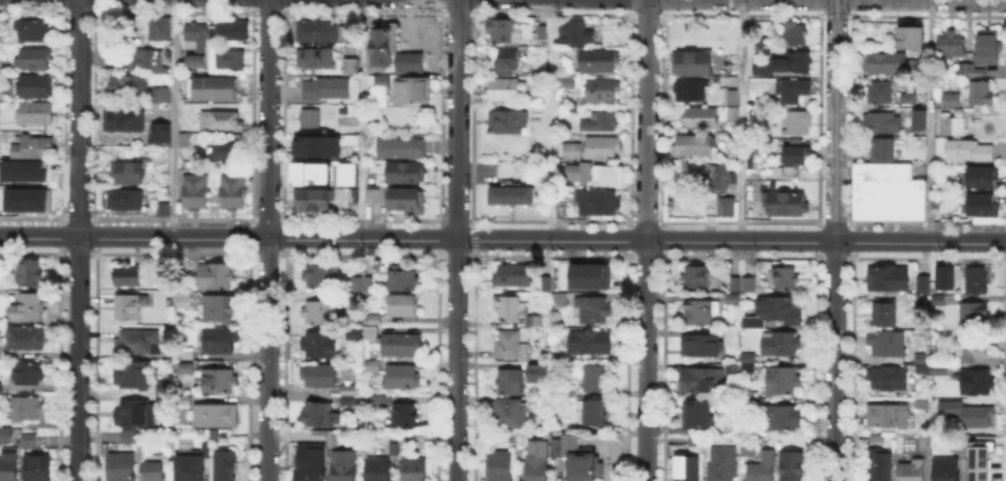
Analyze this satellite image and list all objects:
building: (541, 30)
building: (32, 31)
building: (233, 31)
building: (318, 31)
building: (501, 32)
building: (912, 35)
building: (797, 36)
building: (161, 37)
building: (576, 37)
building: (765, 43)
building: (196, 45)
building: (408, 46)
building: (953, 46)
building: (987, 46)
building: (383, 47)
building: (35, 59)
building: (125, 59)
building: (149, 59)
building: (506, 59)
building: (316, 60)
building: (410, 62)
building: (600, 62)
building: (231, 63)
building: (783, 63)
building: (880, 64)
building: (914, 64)
building: (693, 65)
building: (352, 68)
building: (966, 69)
building: (979, 74)
building: (382, 81)
building: (568, 84)
building: (37, 85)
building: (127, 88)
building: (601, 89)
building: (212, 90)
building: (327, 90)
building: (503, 90)
building: (692, 91)
building: (414, 92)
building: (793, 92)
building: (880, 94)
building: (983, 94)
building: (908, 98)
building: (953, 99)
building: (164, 101)
building: (734, 107)
building: (922, 112)
building: (35, 114)
building: (701, 118)
building: (121, 119)
road: (173, 119)
building: (311, 119)
road: (361, 120)
road: (550, 120)
building: (597, 121)
road: (741, 121)
road: (929, 121)
building: (221, 122)
building: (509, 122)
building: (798, 123)
building: (883, 124)
building: (952, 125)
building: (185, 141)
building: (318, 145)
building: (695, 146)
building: (34, 147)
building: (403, 147)
building: (601, 149)
building: (884, 150)
building: (224, 152)
building: (573, 152)
building: (972, 152)
building: (735, 156)
building: (797, 156)
building: (754, 163)
building: (22, 170)
building: (578, 171)
building: (131, 172)
building: (309, 172)
building: (345, 172)
building: (608, 172)
building: (407, 173)
building: (716, 177)
building: (983, 179)
building: (195, 193)
building: (234, 194)
building: (889, 195)
building: (376, 196)
building: (513, 196)
building: (23, 198)
building: (355, 198)
building: (128, 201)
building: (312, 201)
building: (406, 201)
building: (599, 204)
building: (785, 205)
building: (983, 206)
building: (164, 210)
building: (726, 210)
road: (77, 240)
road: (266, 240)
road: (456, 240)
road: (646, 240)
road: (835, 240)
road: (502, 241)
building: (31, 271)
building: (585, 274)
building: (514, 275)
building: (128, 276)
building: (217, 276)
building: (323, 276)
building: (694, 277)
building: (787, 279)
building: (889, 279)
building: (401, 280)
building: (978, 281)
building: (369, 283)
building: (735, 283)
building: (356, 284)
building: (748, 284)
building: (924, 284)
building: (937, 284)
building: (548, 286)
building: (559, 298)
building: (354, 299)
building: (941, 300)
building: (183, 301)
building: (922, 302)
building: (402, 307)
building: (28, 308)
building: (127, 308)
building: (220, 309)
building: (515, 310)
building: (594, 311)
building: (701, 313)
building: (774, 313)
building: (322, 314)
building: (885, 315)
building: (974, 315)
building: (375, 318)
building: (353, 329)
building: (371, 334)
building: (27, 338)
building: (732, 338)
building: (138, 341)
building: (221, 342)
building: (590, 343)
building: (781, 345)
building: (320, 346)
building: (401, 346)
building: (511, 347)
building: (700, 347)
building: (892, 347)
building: (970, 348)
building: (923, 358)
building: (747, 362)
building: (373, 366)
building: (187, 369)
building: (733, 369)
building: (923, 369)
building: (940, 370)
building: (543, 373)
building: (29, 375)
building: (133, 376)
building: (324, 376)
building: (402, 377)
building: (595, 378)
building: (219, 380)
building: (888, 380)
building: (977, 381)
building: (511, 382)
building: (703, 382)
building: (784, 383)
building: (1, 387)
building: (351, 390)
building: (923, 401)
building: (350, 402)
building: (377, 402)
building: (758, 403)
building: (26, 410)
building: (133, 413)
building: (317, 414)
building: (510, 414)
building: (595, 415)
building: (216, 416)
building: (697, 416)
building: (975, 416)
building: (405, 417)
building: (888, 417)
building: (784, 419)
building: (0, 420)
building: (730, 429)
building: (317, 435)
building: (5, 436)
building: (419, 437)
building: (129, 438)
building: (331, 438)
building: (878, 439)
building: (697, 441)
building: (975, 441)
building: (29, 442)
building: (925, 442)
building: (523, 443)
building: (392, 449)
building: (748, 449)
building: (139, 451)
building: (155, 455)
building: (576, 459)
building: (311, 462)
building: (8, 463)
building: (723, 464)
building: (227, 466)
building: (344, 466)
building: (502, 466)
building: (121, 467)
building: (687, 467)
building: (879, 467)
building: (191, 468)
building: (537, 468)
building: (761, 468)
building: (793, 468)
building: (980, 468)
building: (38, 469)
building: (155, 469)
building: (377, 470)
building: (414, 470)
building: (946, 470)
building: (912, 472)

